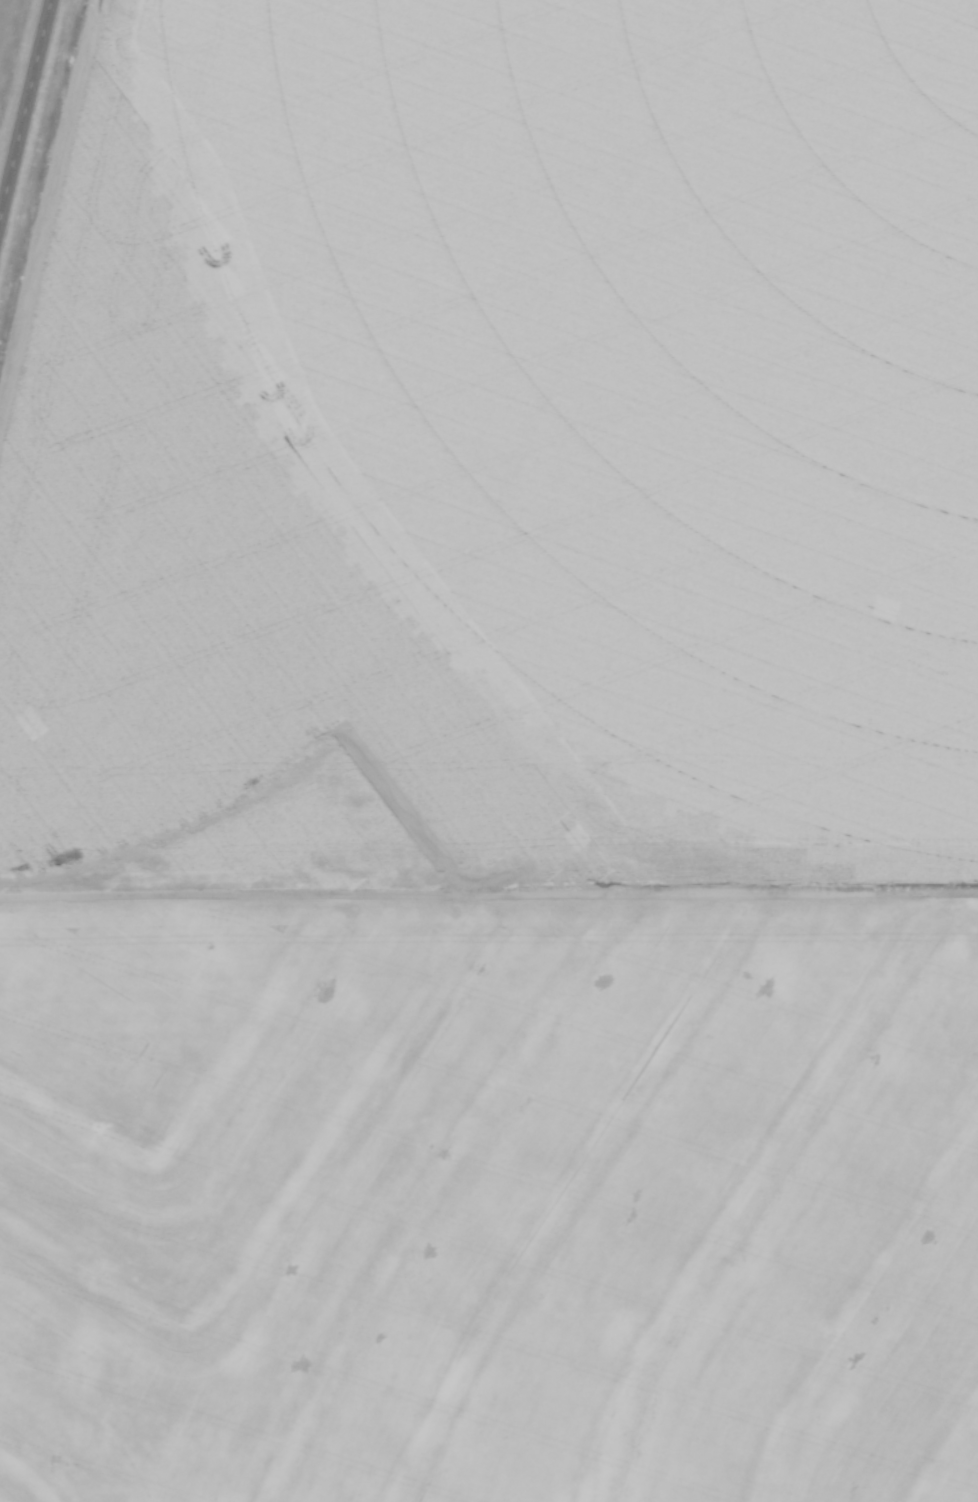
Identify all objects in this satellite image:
road: (23, 101)

